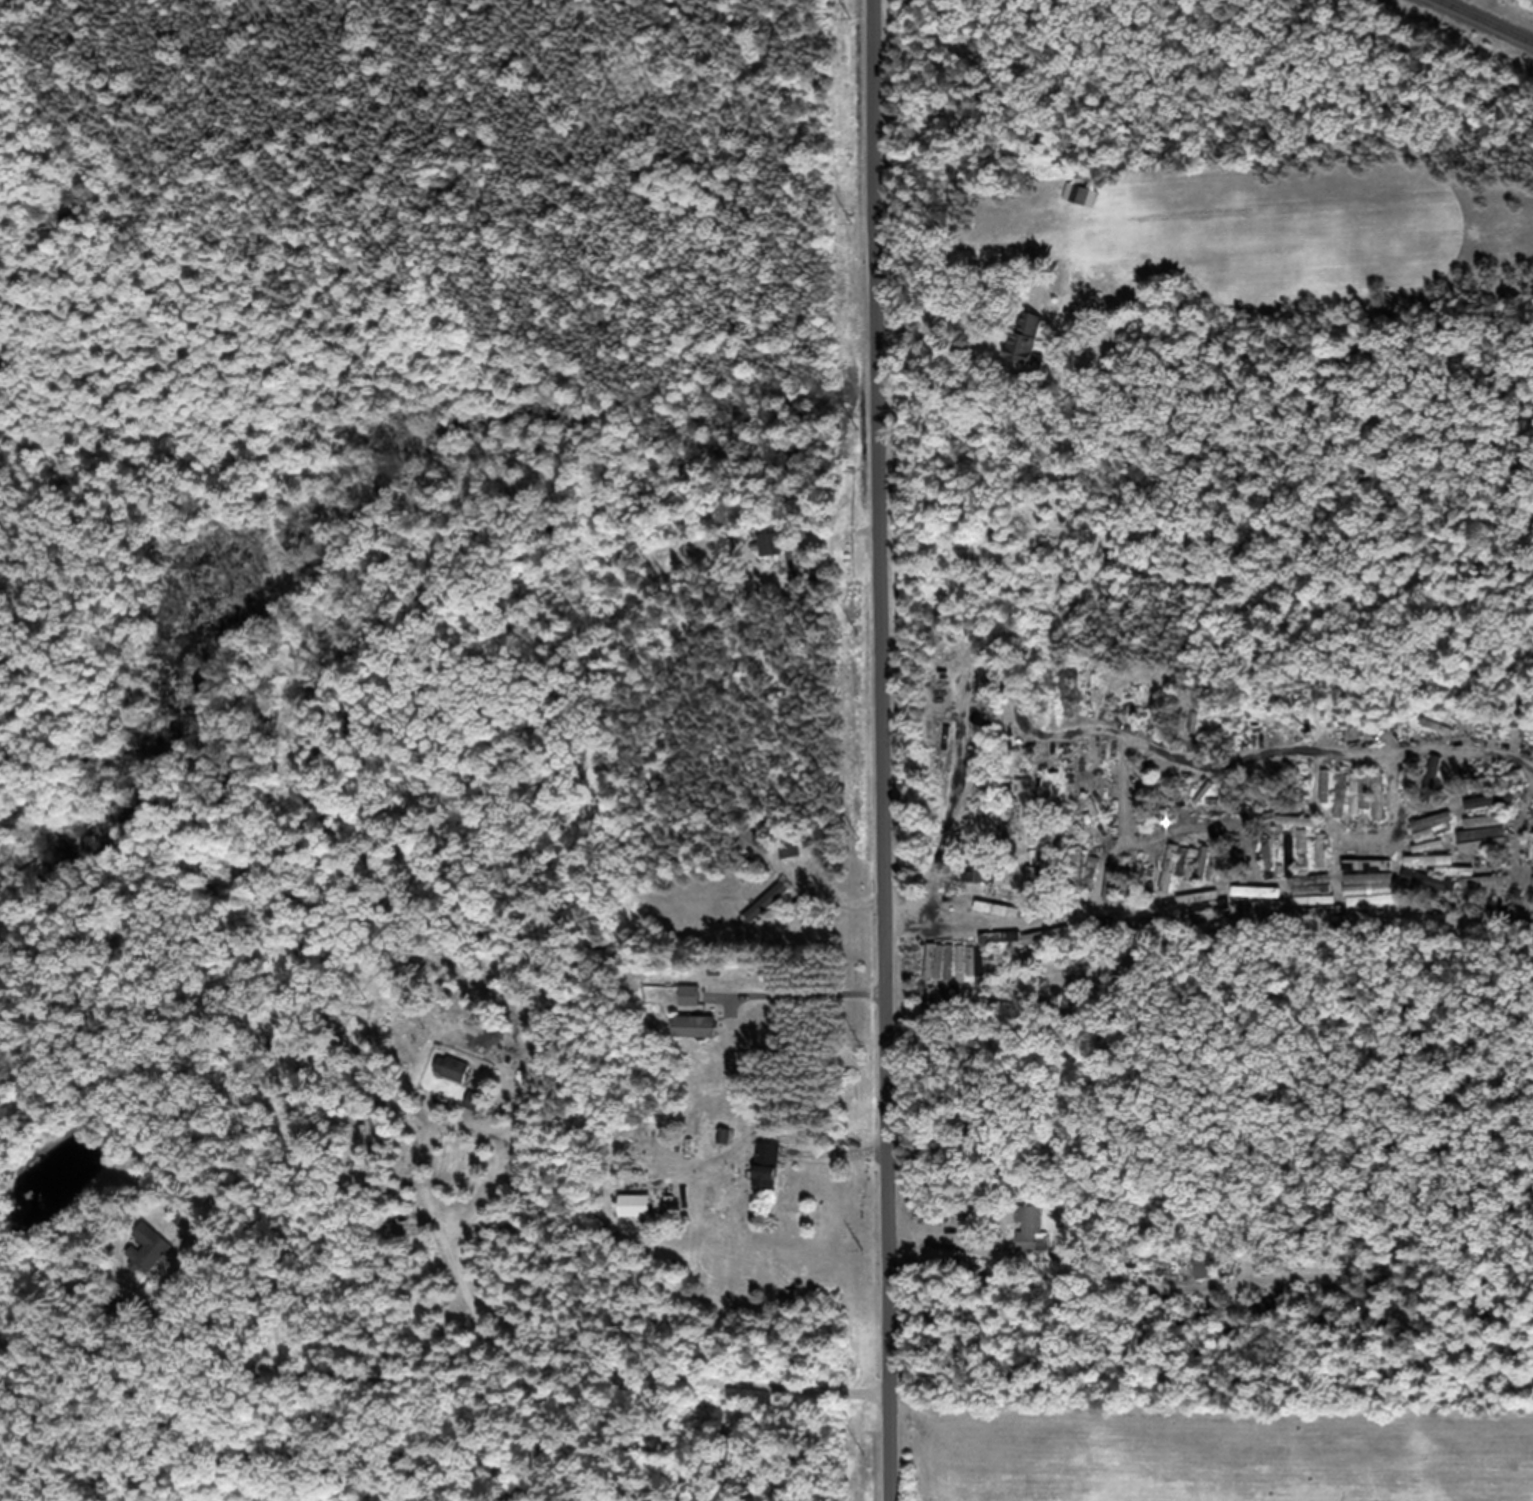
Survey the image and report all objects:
railway: (1474, 26)
building: (1083, 204)
building: (1035, 349)
building: (777, 554)
road: (881, 750)
building: (1367, 804)
building: (1449, 819)
building: (1304, 832)
road: (203, 849)
building: (794, 854)
building: (1429, 855)
building: (1389, 857)
building: (1323, 860)
building: (1303, 863)
building: (1269, 866)
building: (1386, 874)
road: (391, 876)
building: (1171, 879)
building: (980, 884)
building: (1430, 891)
building: (1363, 893)
road: (560, 903)
building: (772, 912)
building: (1287, 912)
building: (1372, 912)
building: (1400, 912)
building: (1212, 917)
building: (975, 940)
building: (949, 971)
building: (974, 972)
building: (697, 1004)
building: (704, 1036)
building: (458, 1077)
building: (478, 1110)
building: (776, 1174)
building: (645, 1215)
building: (1033, 1239)
building: (156, 1258)
building: (1201, 1273)

